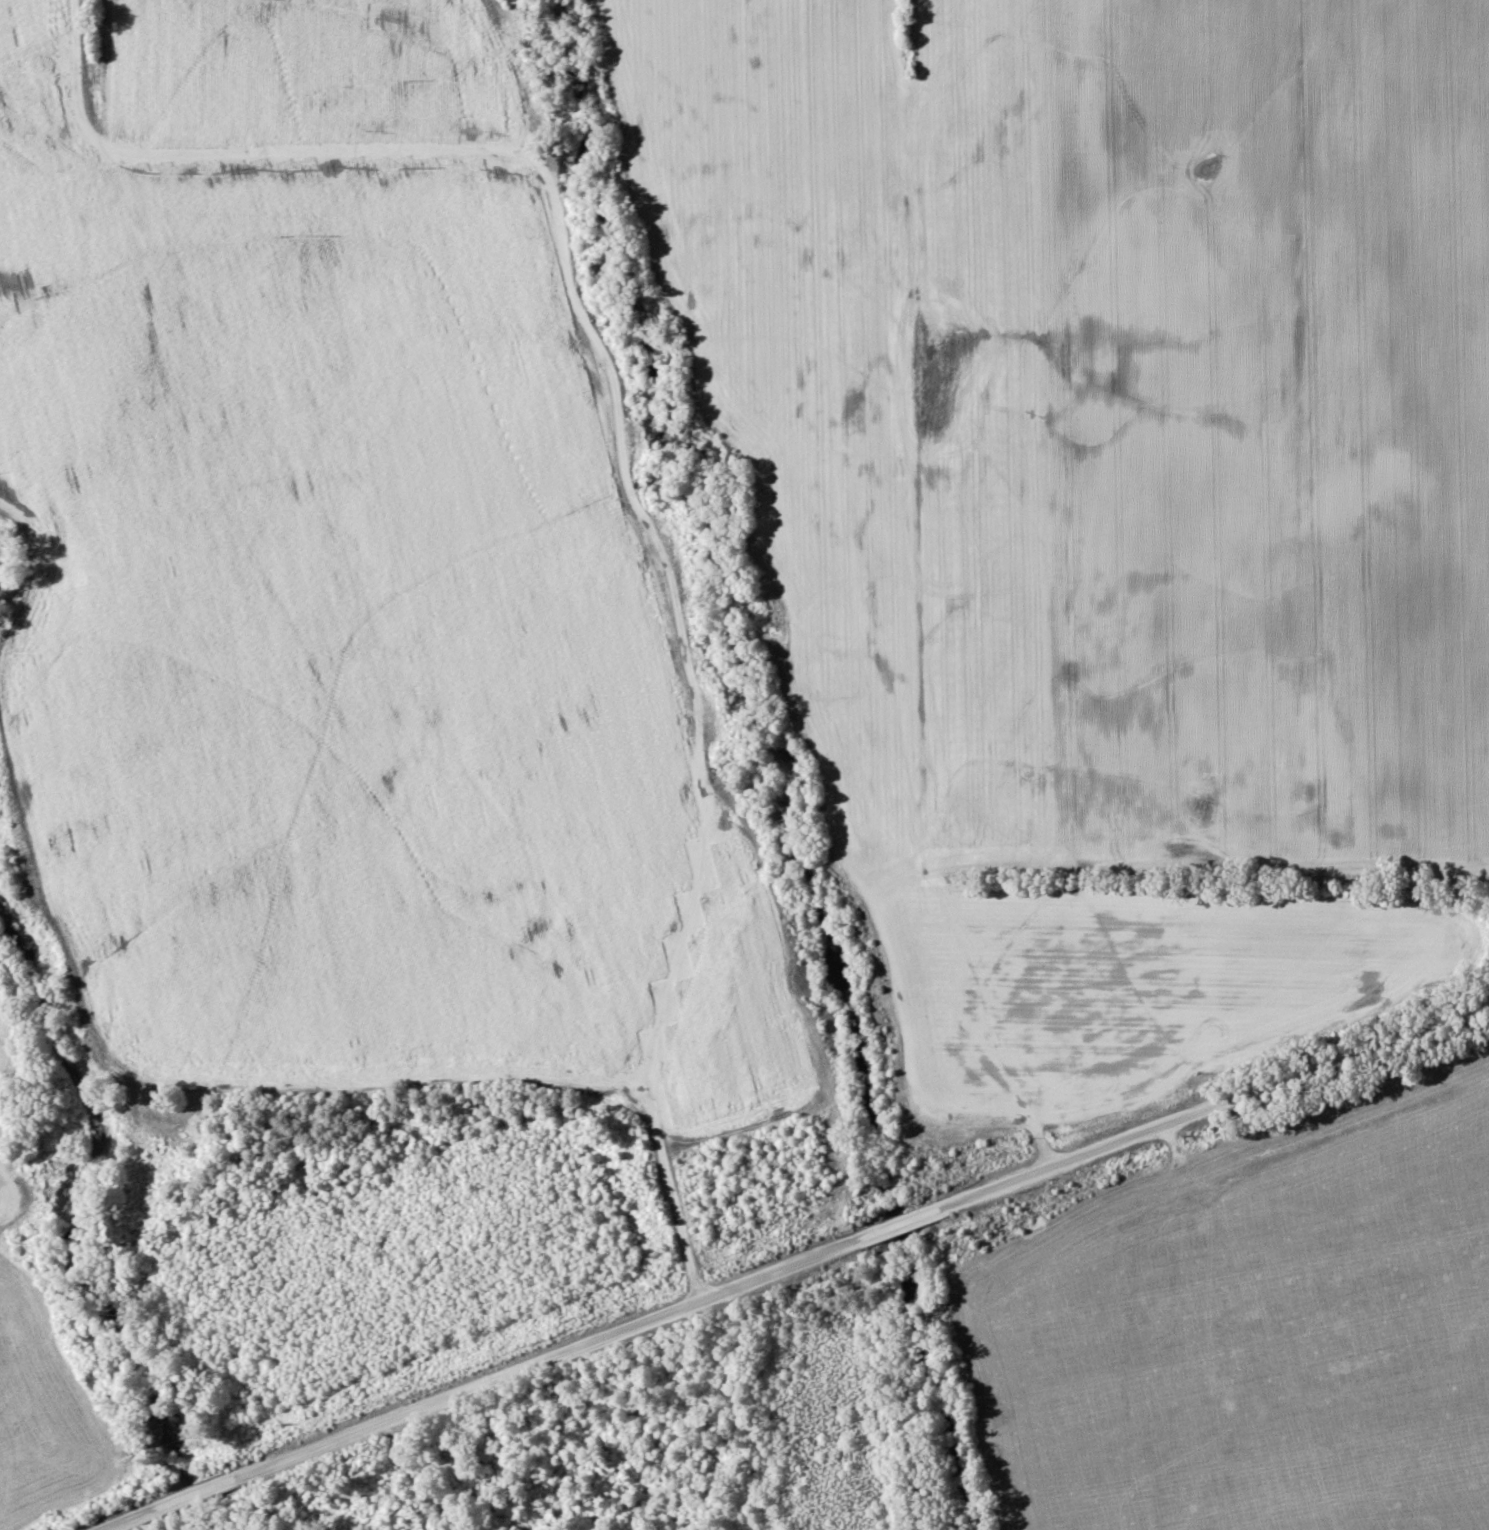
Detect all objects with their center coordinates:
building: (299, 592)
road: (792, 1263)

